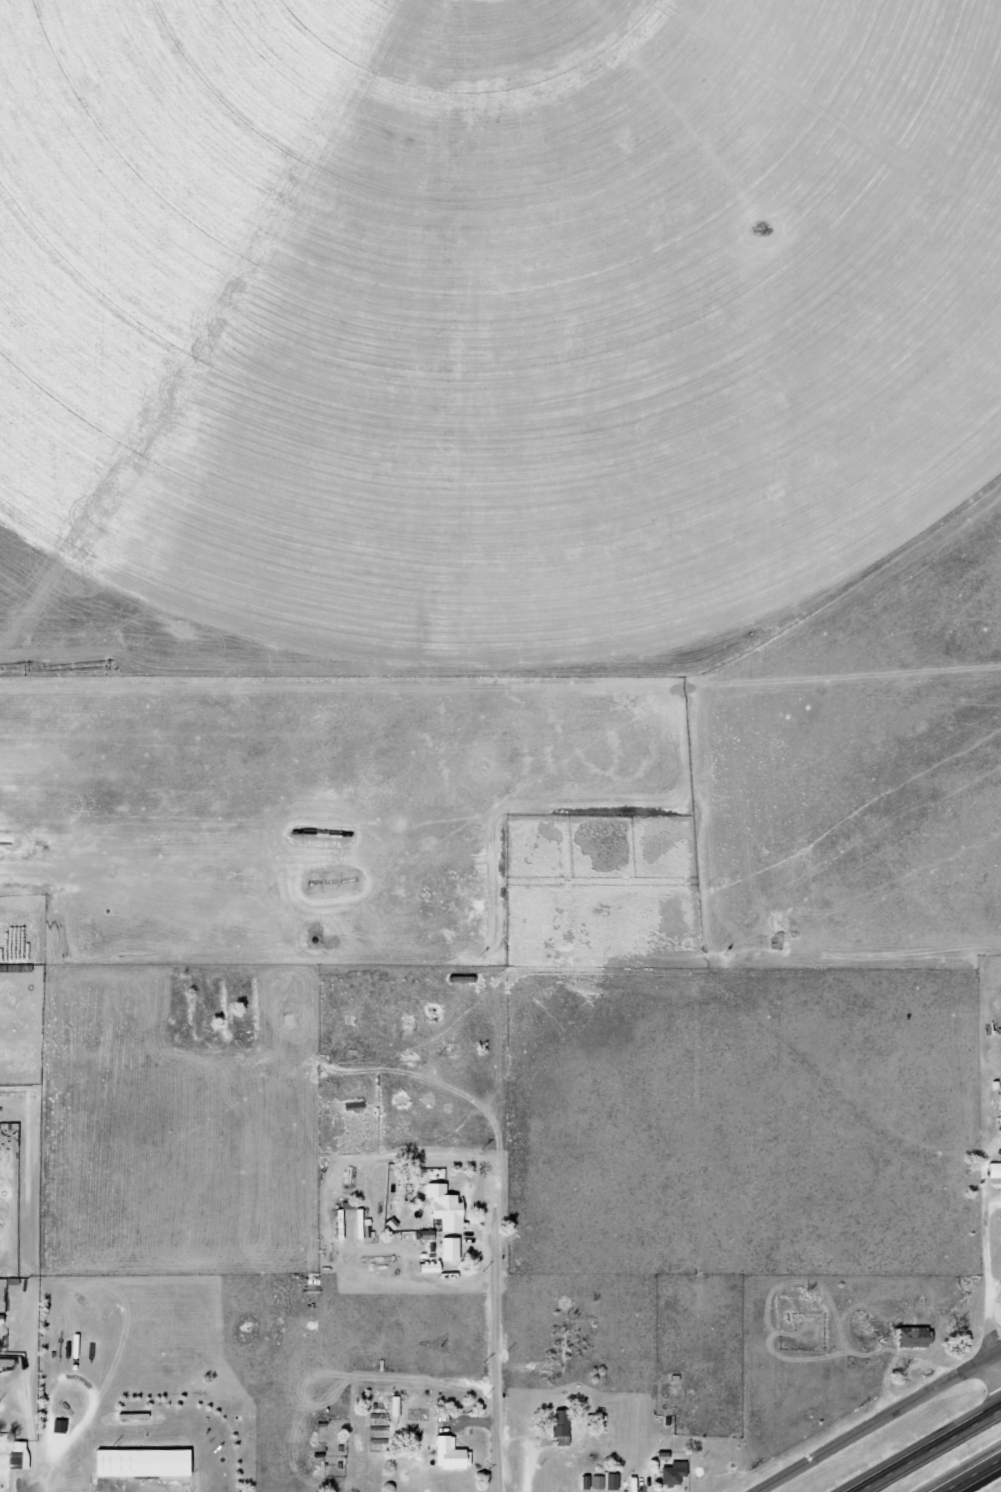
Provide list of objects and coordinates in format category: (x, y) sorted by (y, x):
building: (994, 1170)
building: (444, 1207)
building: (450, 1249)
road: (986, 1280)
road: (498, 1326)
building: (910, 1337)
road: (992, 1370)
building: (559, 1423)
road: (866, 1425)
building: (59, 1426)
road: (928, 1450)
building: (450, 1453)
building: (19, 1454)
building: (141, 1462)
building: (672, 1473)
road: (972, 1475)
building: (612, 1481)
building: (598, 1482)

